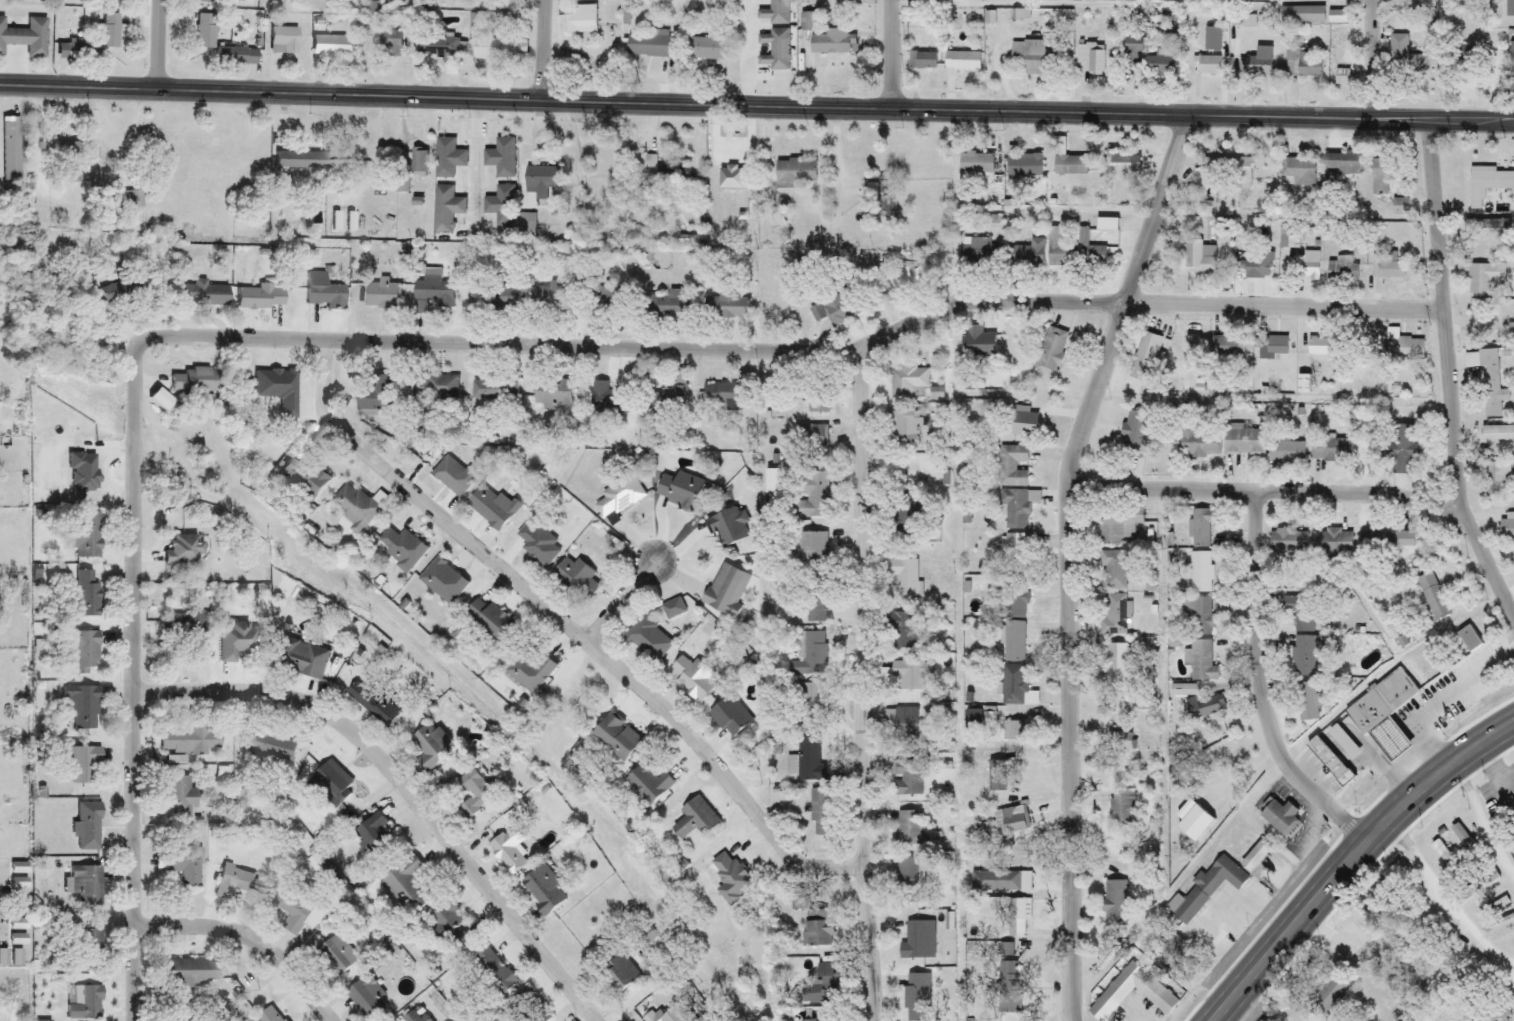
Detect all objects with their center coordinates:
building: (845, 1)
building: (1420, 4)
building: (773, 13)
building: (1301, 15)
building: (1337, 17)
building: (577, 24)
building: (284, 41)
building: (386, 43)
road: (154, 44)
building: (647, 44)
building: (832, 45)
building: (330, 46)
building: (441, 48)
building: (498, 49)
building: (705, 49)
building: (773, 51)
building: (1131, 51)
road: (540, 52)
road: (751, 53)
road: (890, 54)
building: (1033, 57)
building: (1090, 57)
building: (1406, 57)
road: (1370, 60)
building: (961, 61)
building: (923, 62)
building: (1302, 64)
building: (1207, 66)
building: (1511, 66)
building: (1255, 67)
building: (1341, 77)
road: (756, 107)
road: (136, 138)
building: (501, 158)
building: (448, 159)
building: (299, 161)
building: (419, 163)
building: (975, 164)
building: (1023, 166)
building: (1068, 166)
building: (1337, 167)
road: (480, 168)
building: (1121, 168)
building: (234, 172)
building: (1215, 173)
building: (1297, 173)
building: (794, 175)
building: (1240, 176)
building: (1383, 177)
building: (664, 178)
building: (541, 181)
building: (1487, 184)
building: (501, 206)
building: (1398, 207)
building: (446, 210)
building: (1105, 225)
building: (1477, 225)
building: (526, 227)
building: (1289, 242)
building: (1057, 251)
building: (1088, 251)
building: (1226, 251)
building: (979, 253)
building: (1028, 254)
building: (1197, 259)
building: (1256, 266)
building: (1307, 267)
building: (1386, 267)
building: (1342, 270)
building: (904, 279)
building: (1484, 279)
building: (431, 289)
building: (321, 293)
building: (381, 295)
building: (611, 295)
building: (208, 296)
building: (549, 297)
building: (258, 298)
building: (496, 298)
building: (669, 308)
building: (725, 308)
building: (835, 309)
building: (977, 343)
building: (1224, 346)
building: (1272, 348)
road: (790, 349)
building: (1364, 349)
building: (1405, 350)
building: (1050, 352)
building: (1322, 352)
building: (1146, 359)
road: (1449, 380)
building: (192, 382)
building: (911, 385)
building: (1491, 386)
building: (437, 387)
building: (277, 389)
building: (493, 390)
building: (374, 397)
building: (721, 397)
building: (158, 400)
building: (553, 401)
building: (669, 401)
building: (818, 404)
building: (1021, 423)
building: (905, 427)
building: (1135, 433)
building: (1497, 433)
building: (812, 442)
building: (1198, 442)
building: (1243, 443)
building: (1399, 449)
building: (1330, 450)
building: (1286, 453)
building: (1012, 467)
building: (303, 477)
building: (452, 477)
building: (1497, 480)
building: (679, 491)
road: (1266, 492)
building: (812, 495)
building: (618, 497)
building: (909, 506)
building: (492, 508)
building: (354, 509)
building: (1016, 509)
building: (728, 527)
building: (1118, 527)
building: (1506, 527)
building: (1199, 529)
building: (1386, 540)
building: (1288, 543)
building: (1331, 544)
building: (537, 545)
building: (809, 548)
building: (400, 549)
building: (182, 550)
building: (1016, 552)
road: (1068, 559)
building: (1114, 569)
building: (1201, 573)
building: (905, 578)
building: (574, 579)
building: (442, 582)
building: (726, 591)
building: (1432, 597)
building: (87, 601)
road: (619, 603)
building: (1016, 603)
road: (1509, 604)
building: (673, 610)
building: (815, 610)
building: (1303, 615)
building: (1117, 616)
building: (1198, 616)
building: (487, 621)
building: (182, 628)
road: (569, 628)
building: (648, 640)
building: (236, 641)
building: (1468, 641)
building: (1013, 643)
building: (87, 653)
building: (906, 655)
building: (1306, 655)
building: (811, 656)
building: (303, 661)
building: (1201, 662)
building: (1117, 665)
building: (530, 671)
building: (692, 679)
road: (131, 686)
road: (861, 686)
building: (1012, 686)
road: (1259, 686)
building: (1177, 691)
building: (1306, 702)
building: (372, 705)
building: (809, 705)
building: (86, 708)
building: (1205, 708)
road: (1435, 709)
building: (1382, 714)
building: (989, 715)
building: (728, 716)
building: (905, 726)
building: (1013, 732)
building: (615, 737)
building: (193, 741)
building: (1122, 743)
building: (1342, 743)
building: (428, 748)
building: (806, 762)
building: (1329, 763)
building: (86, 766)
road: (1495, 767)
building: (998, 775)
building: (908, 778)
road: (401, 786)
building: (647, 786)
building: (470, 794)
building: (183, 798)
building: (1511, 807)
building: (1123, 808)
building: (813, 809)
building: (1280, 817)
building: (695, 820)
building: (1014, 820)
road: (1482, 821)
building: (84, 827)
building: (910, 828)
building: (376, 839)
building: (1462, 839)
building: (1512, 849)
building: (1443, 854)
building: (1254, 856)
road: (1349, 858)
building: (184, 865)
building: (910, 875)
building: (1219, 877)
building: (732, 879)
building: (1001, 881)
building: (232, 882)
building: (1478, 885)
building: (406, 886)
building: (85, 887)
building: (542, 889)
building: (1115, 898)
road: (1445, 899)
building: (1183, 909)
building: (300, 911)
building: (1014, 918)
building: (448, 926)
building: (818, 931)
road: (249, 939)
building: (918, 942)
building: (85, 946)
building: (1176, 948)
building: (335, 954)
building: (1474, 960)
building: (624, 970)
building: (492, 972)
building: (187, 974)
building: (826, 981)
building: (1157, 993)
building: (916, 997)
building: (363, 999)
building: (82, 1002)
building: (527, 1007)
building: (676, 1013)
building: (267, 1015)
building: (413, 1017)
building: (191, 1019)

